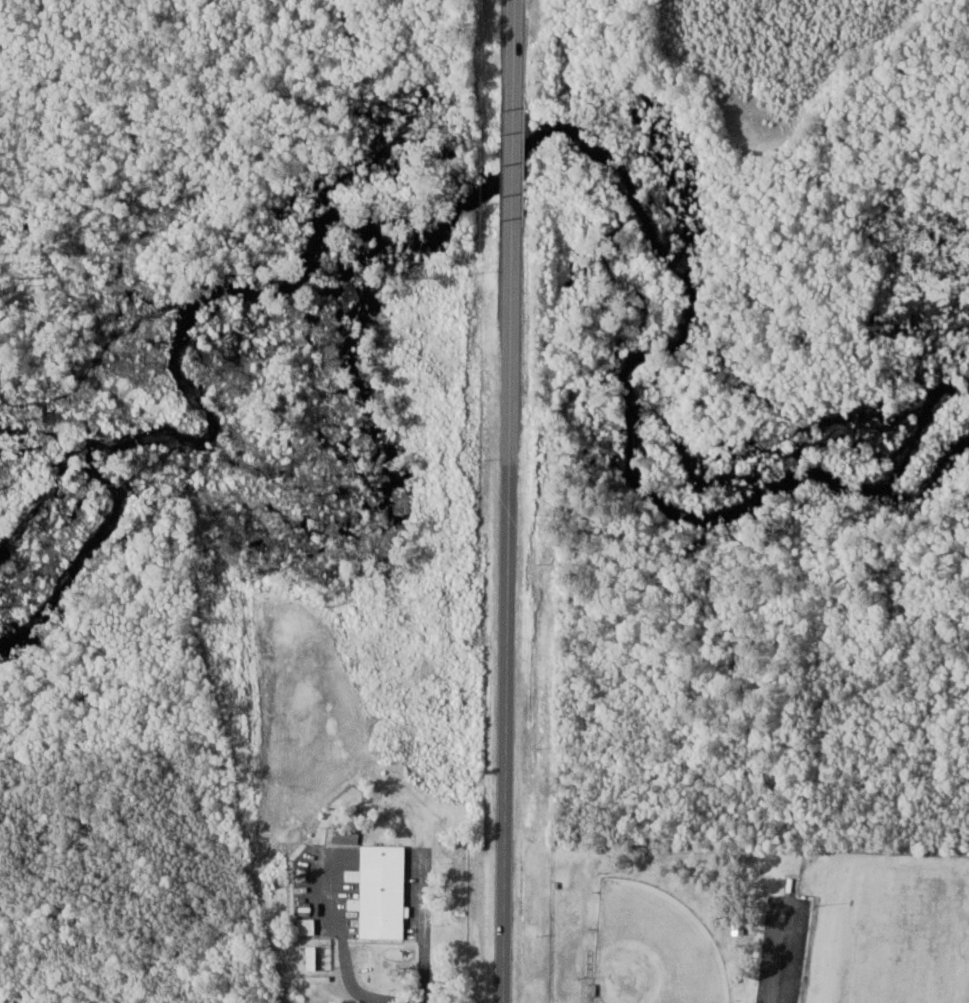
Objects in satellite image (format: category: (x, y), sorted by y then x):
road: (514, 50)
road: (514, 167)
road: (508, 618)
building: (347, 838)
building: (382, 893)
park: (743, 924)
building: (308, 927)
road: (424, 927)
park: (899, 937)
road: (342, 943)
park: (653, 948)
road: (780, 955)

